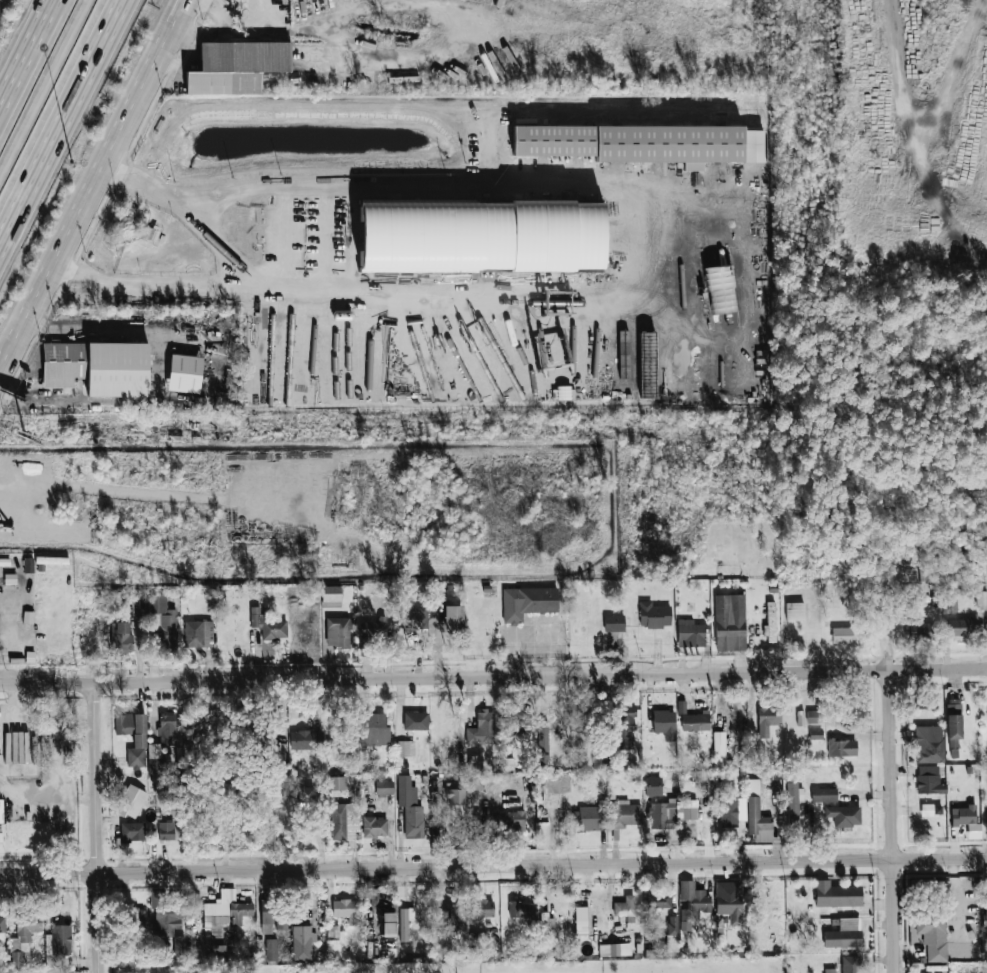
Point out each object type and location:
road: (181, 21)
road: (184, 21)
road: (22, 43)
building: (235, 67)
road: (45, 91)
road: (62, 125)
building: (643, 143)
road: (379, 188)
road: (100, 189)
road: (161, 190)
building: (481, 236)
building: (715, 261)
road: (400, 284)
building: (720, 287)
road: (12, 354)
building: (626, 356)
road: (12, 358)
building: (647, 364)
building: (97, 367)
building: (184, 373)
building: (28, 565)
building: (331, 596)
building: (981, 598)
building: (528, 602)
building: (949, 605)
building: (795, 611)
building: (654, 615)
building: (453, 617)
building: (416, 618)
building: (162, 622)
building: (729, 622)
building: (771, 622)
building: (614, 623)
building: (268, 625)
building: (962, 627)
building: (373, 630)
building: (339, 631)
building: (920, 631)
building: (198, 633)
building: (691, 633)
building: (842, 635)
building: (121, 638)
road: (493, 674)
building: (926, 703)
building: (814, 716)
building: (954, 718)
building: (692, 719)
building: (767, 720)
building: (415, 721)
building: (664, 724)
building: (518, 725)
building: (625, 726)
building: (482, 728)
building: (376, 730)
building: (815, 734)
building: (133, 738)
building: (304, 740)
building: (161, 743)
building: (929, 744)
building: (842, 748)
building: (405, 749)
building: (718, 757)
building: (475, 763)
building: (507, 764)
building: (773, 773)
building: (929, 780)
building: (477, 781)
building: (337, 783)
building: (384, 786)
building: (554, 789)
building: (227, 790)
building: (824, 795)
road: (894, 795)
building: (305, 796)
building: (455, 796)
building: (130, 802)
building: (794, 804)
building: (410, 808)
building: (930, 810)
building: (671, 811)
building: (732, 811)
building: (625, 814)
building: (844, 815)
building: (986, 816)
building: (586, 819)
building: (513, 820)
building: (966, 820)
building: (338, 821)
building: (758, 822)
road: (101, 826)
building: (374, 826)
building: (132, 831)
building: (166, 831)
road: (493, 866)
building: (837, 895)
building: (985, 900)
building: (659, 901)
building: (729, 901)
building: (691, 903)
building: (625, 908)
building: (480, 909)
building: (521, 909)
building: (345, 910)
building: (165, 913)
building: (581, 913)
building: (137, 916)
building: (267, 917)
building: (450, 917)
building: (222, 920)
building: (388, 922)
building: (405, 922)
building: (546, 923)
building: (2, 924)
building: (333, 930)
building: (672, 933)
building: (844, 934)
building: (933, 936)
building: (23, 937)
building: (302, 942)
building: (57, 945)
building: (179, 945)
building: (272, 949)
building: (615, 949)
building: (851, 964)

